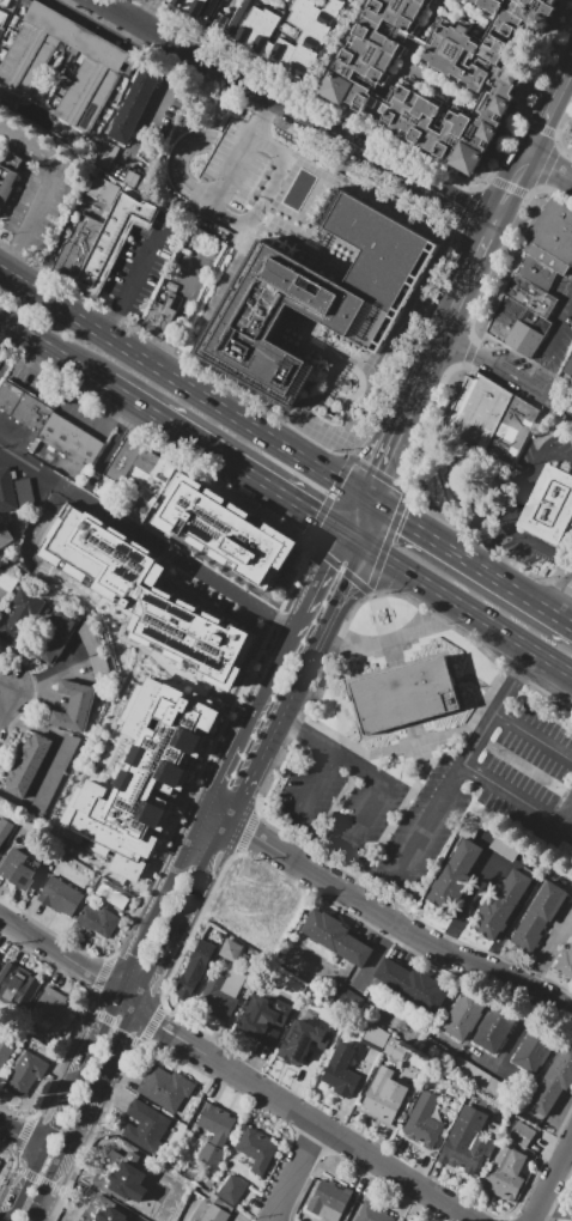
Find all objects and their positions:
building: (4, 1)
building: (194, 7)
building: (522, 16)
building: (292, 35)
building: (79, 37)
building: (420, 41)
road: (328, 55)
building: (25, 59)
building: (345, 90)
road: (159, 95)
building: (87, 96)
building: (134, 104)
road: (296, 111)
road: (552, 115)
road: (245, 151)
road: (562, 159)
parking lot: (236, 164)
road: (552, 166)
road: (54, 183)
building: (7, 184)
building: (105, 190)
road: (512, 190)
road: (226, 217)
building: (553, 236)
building: (115, 242)
building: (79, 245)
road: (482, 250)
building: (535, 271)
road: (136, 280)
building: (530, 294)
building: (315, 299)
road: (188, 300)
road: (457, 305)
building: (159, 317)
building: (517, 324)
road: (114, 333)
road: (556, 334)
road: (438, 345)
road: (162, 352)
road: (51, 357)
road: (494, 365)
building: (568, 367)
road: (39, 370)
road: (535, 377)
road: (421, 383)
building: (12, 396)
road: (559, 405)
road: (103, 412)
building: (36, 413)
road: (151, 418)
building: (487, 419)
road: (262, 424)
road: (398, 435)
building: (73, 441)
road: (298, 448)
building: (126, 455)
road: (559, 455)
fountain: (515, 461)
building: (144, 466)
road: (537, 467)
road: (235, 469)
road: (337, 472)
traffic signals: (383, 472)
road: (381, 475)
building: (157, 480)
road: (63, 484)
park: (461, 485)
building: (6, 491)
building: (23, 491)
road: (279, 497)
road: (517, 505)
building: (548, 508)
road: (358, 515)
traffic signals: (407, 516)
road: (314, 518)
traffic signals: (314, 518)
road: (365, 520)
road: (419, 523)
building: (225, 531)
building: (5, 536)
road: (498, 536)
road: (351, 541)
road: (536, 543)
road: (336, 547)
road: (485, 555)
road: (471, 559)
road: (568, 563)
road: (404, 575)
road: (211, 576)
traffic signals: (345, 577)
road: (342, 581)
road: (317, 582)
building: (153, 594)
road: (524, 594)
road: (565, 602)
road: (454, 607)
building: (17, 618)
road: (298, 621)
road: (442, 624)
road: (321, 627)
building: (54, 639)
road: (286, 645)
road: (515, 645)
road: (309, 652)
road: (8, 693)
building: (404, 694)
building: (72, 707)
road: (272, 728)
road: (531, 736)
road: (333, 748)
building: (26, 764)
building: (55, 770)
building: (142, 772)
road: (315, 780)
building: (548, 786)
road: (448, 788)
parking lot: (439, 794)
road: (512, 797)
road: (365, 814)
road: (201, 822)
road: (567, 822)
building: (5, 828)
building: (19, 868)
building: (454, 874)
building: (61, 895)
building: (111, 895)
road: (189, 899)
building: (500, 904)
road: (385, 916)
building: (535, 917)
building: (101, 918)
building: (336, 937)
building: (230, 949)
road: (59, 952)
building: (566, 964)
building: (194, 970)
building: (410, 983)
building: (18, 985)
building: (221, 994)
building: (348, 997)
road: (128, 1000)
building: (50, 1010)
building: (465, 1012)
building: (262, 1021)
building: (495, 1027)
road: (518, 1029)
building: (375, 1034)
building: (302, 1043)
building: (537, 1047)
building: (396, 1049)
building: (5, 1050)
road: (172, 1059)
road: (495, 1067)
building: (24, 1070)
building: (340, 1071)
building: (552, 1085)
building: (168, 1089)
building: (384, 1095)
road: (62, 1105)
road: (85, 1114)
road: (304, 1118)
building: (420, 1120)
building: (217, 1123)
building: (147, 1125)
building: (522, 1134)
road: (20, 1135)
building: (467, 1140)
building: (257, 1149)
building: (209, 1155)
road: (353, 1166)
building: (505, 1173)
road: (298, 1174)
road: (552, 1180)
building: (232, 1189)
road: (560, 1198)
building: (328, 1199)
building: (214, 1213)
building: (373, 1213)
building: (196, 1220)

